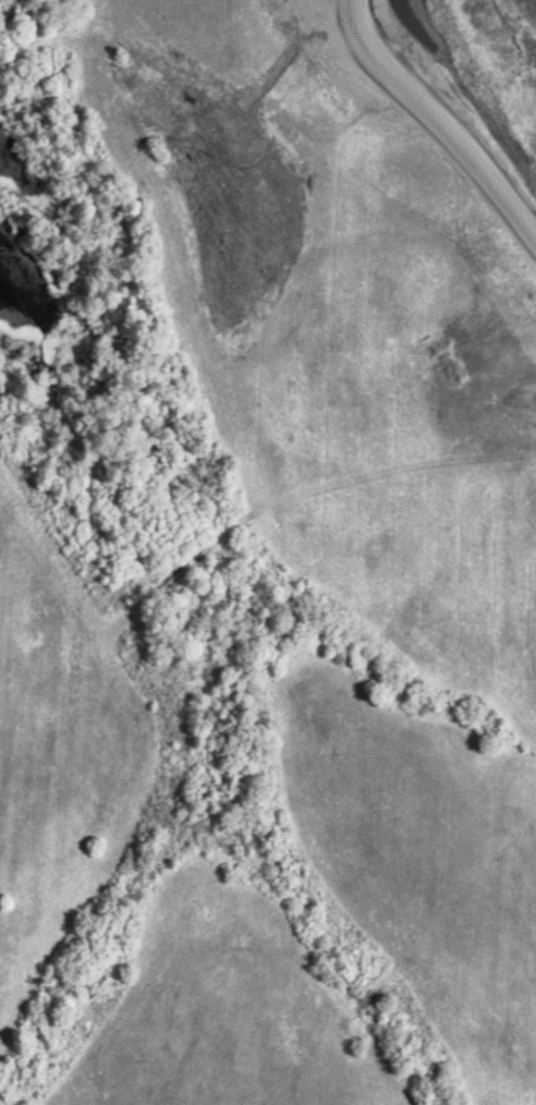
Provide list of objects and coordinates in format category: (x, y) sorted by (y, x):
road: (338, 169)

